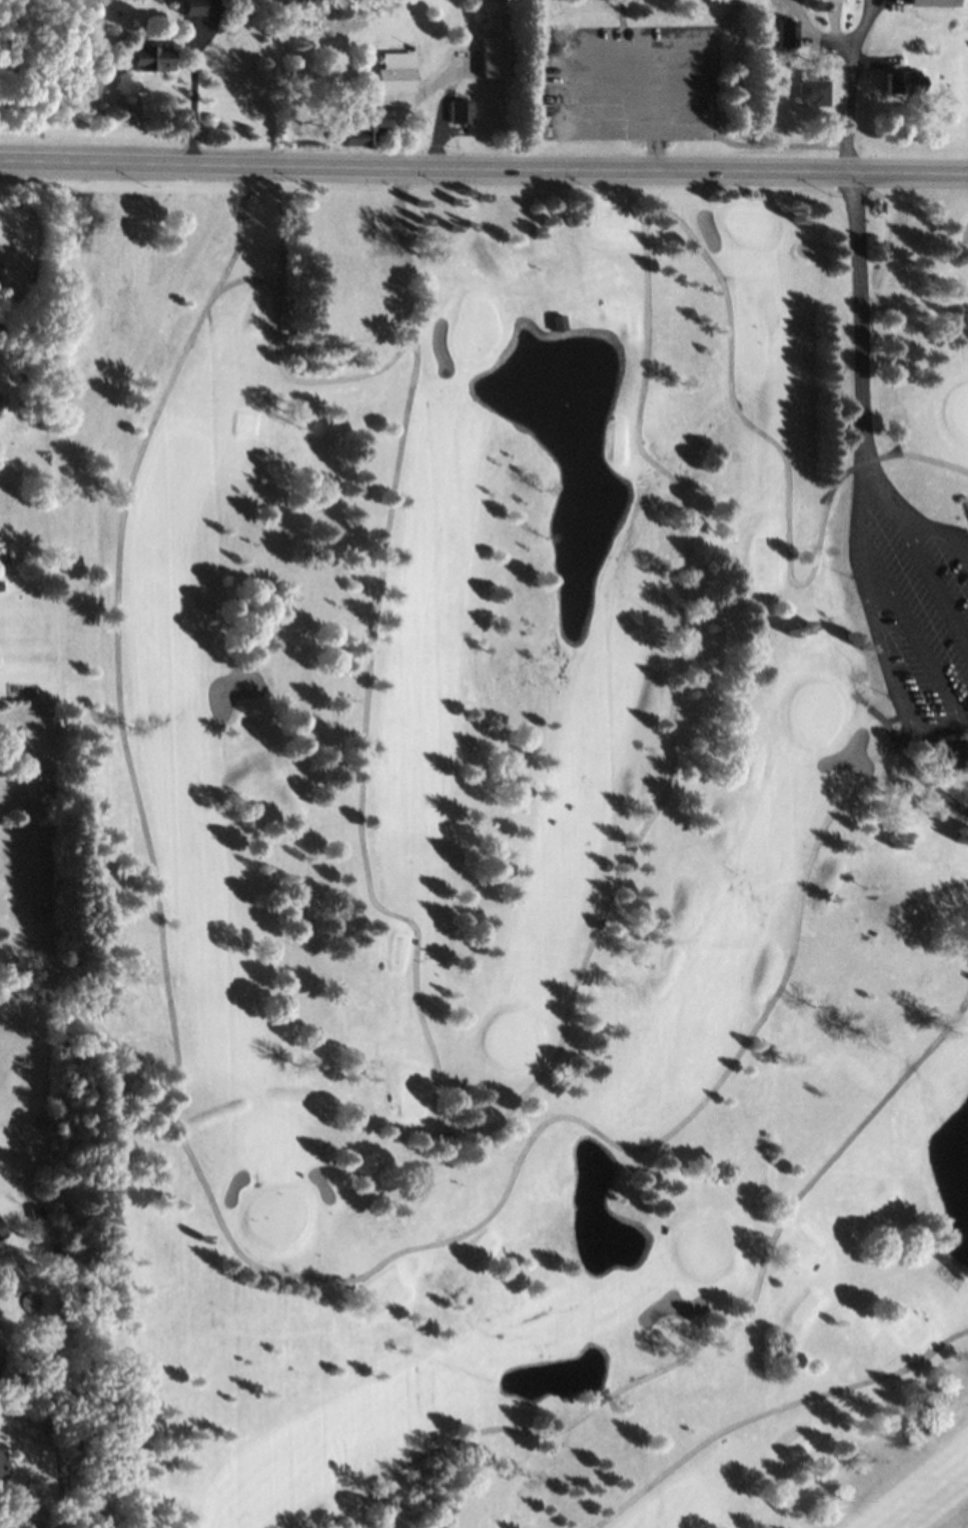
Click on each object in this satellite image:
building: (935, 2)
building: (201, 7)
building: (788, 32)
building: (152, 57)
building: (396, 71)
park: (744, 80)
building: (903, 81)
parking lot: (618, 85)
building: (813, 90)
road: (195, 93)
building: (461, 113)
building: (364, 128)
road: (483, 168)
road: (260, 187)
road: (918, 305)
building: (560, 322)
road: (862, 344)
road: (403, 449)
road: (913, 516)
road: (963, 544)
road: (907, 616)
road: (887, 641)
road: (963, 718)
road: (932, 782)
park: (521, 854)
building: (2, 1231)
road: (703, 1342)
road: (771, 1410)
building: (4, 1465)
road: (961, 1522)

